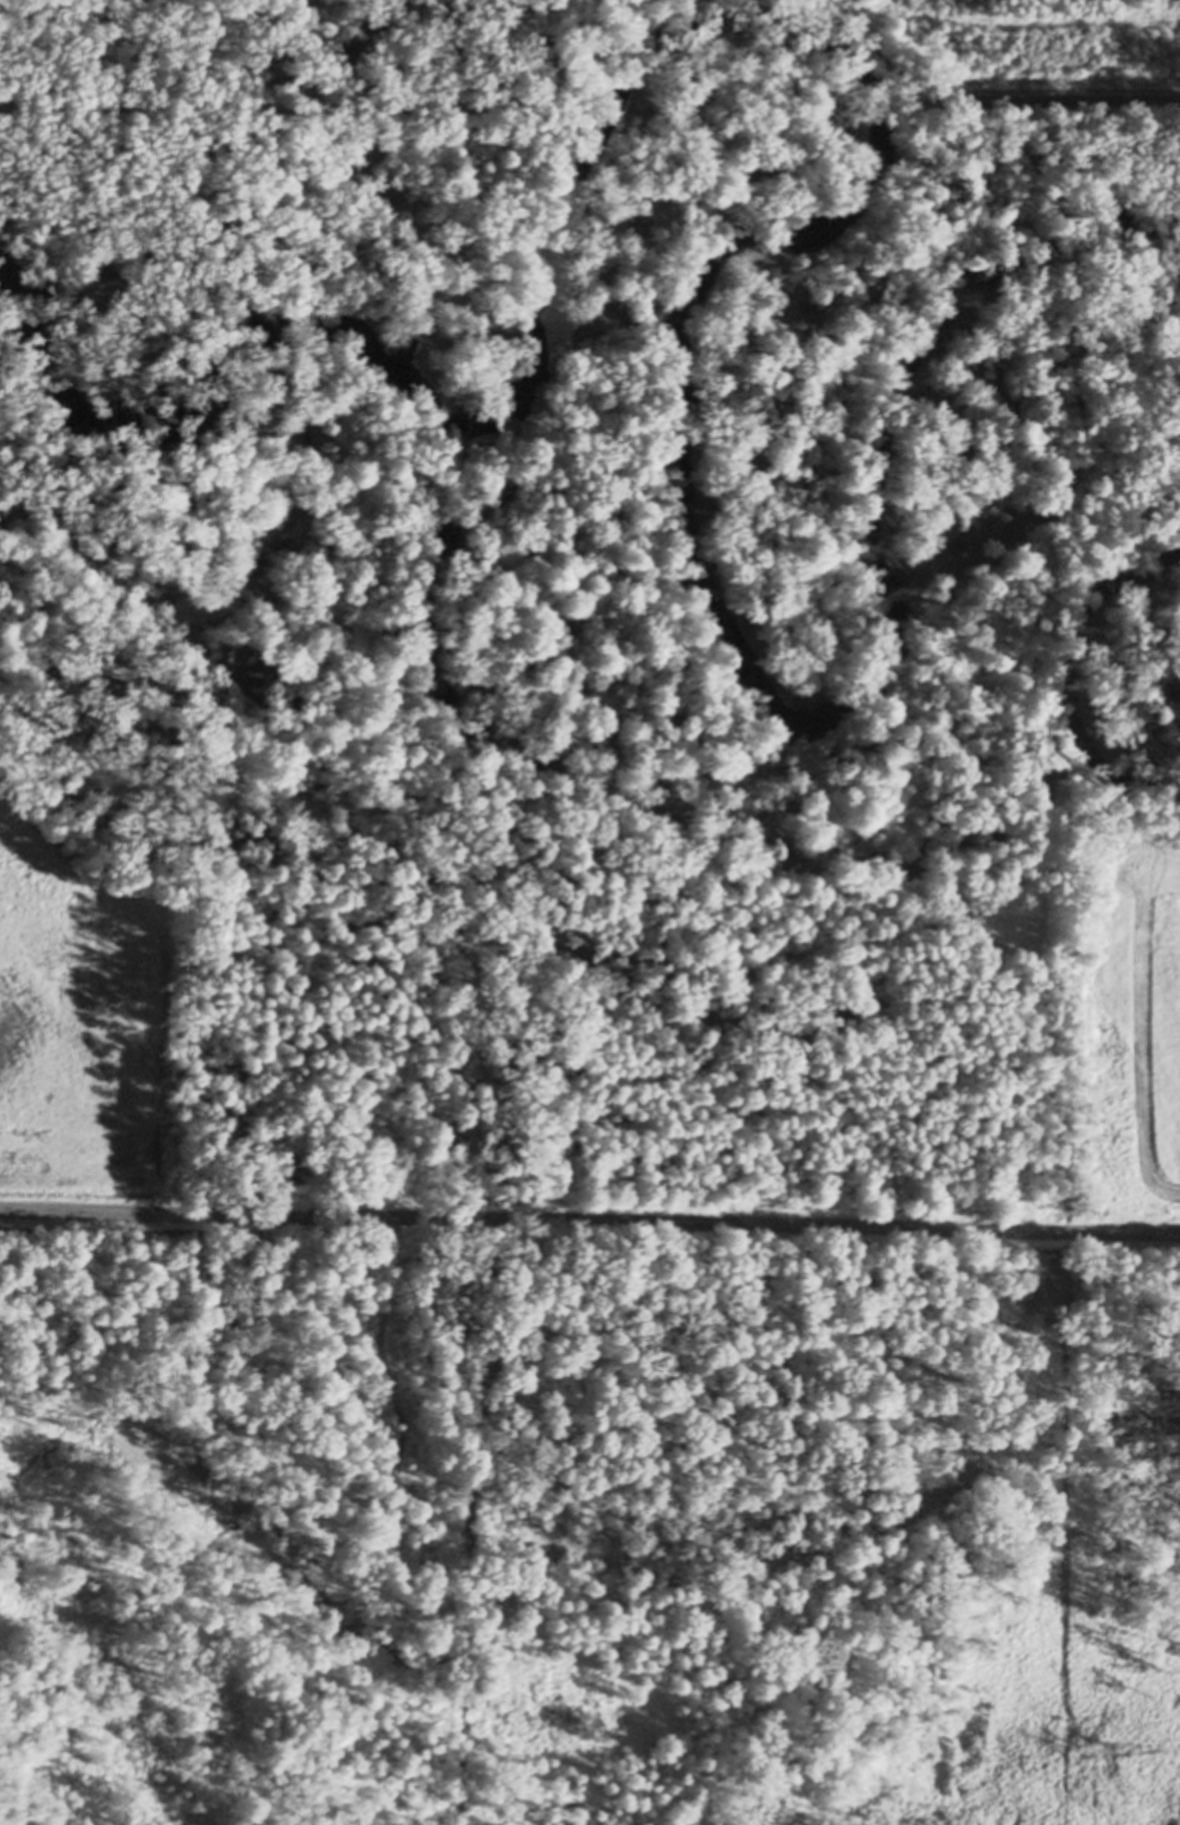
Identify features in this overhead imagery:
road: (967, 103)
road: (359, 110)
road: (589, 1223)

